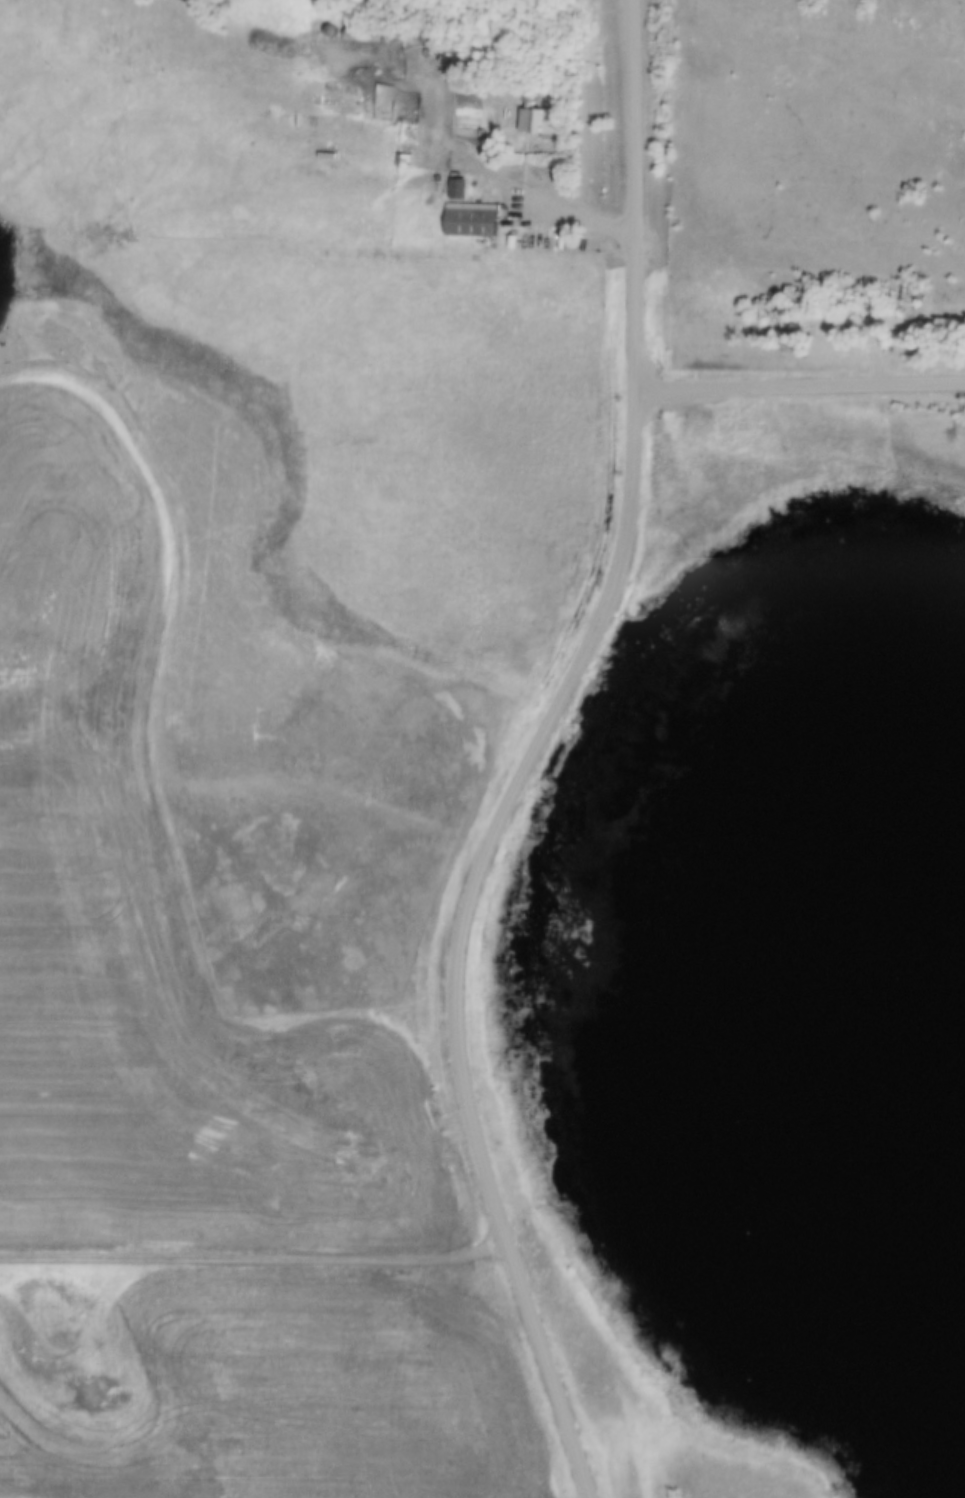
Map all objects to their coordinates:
building: (535, 121)
road: (534, 190)
building: (472, 222)
road: (798, 381)
road: (529, 755)
road: (254, 1255)

